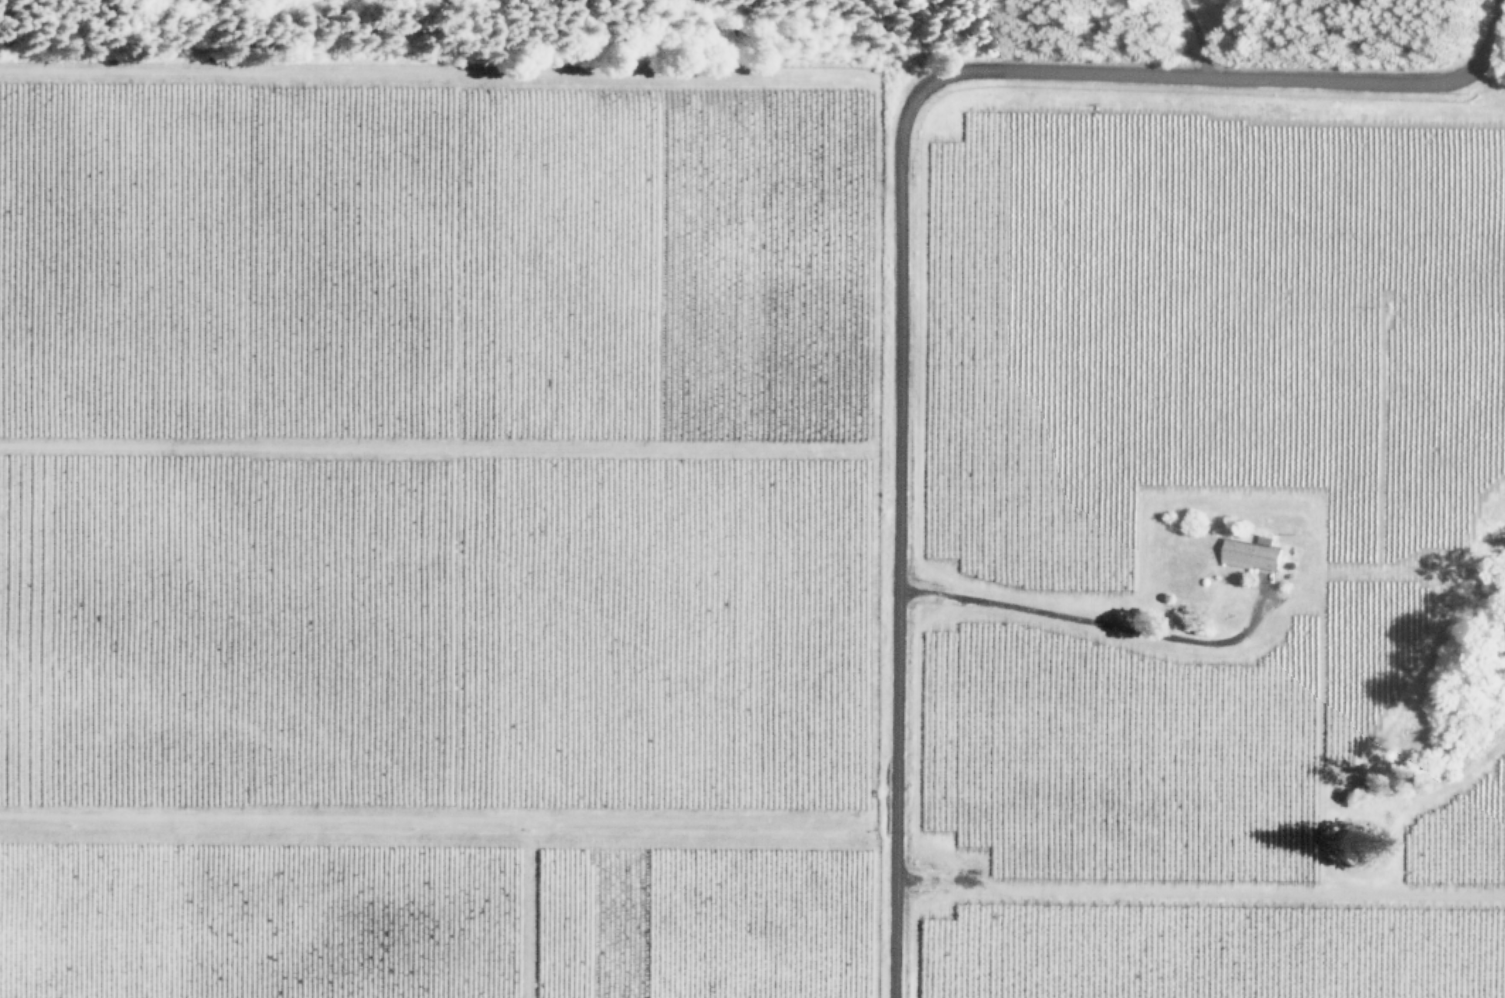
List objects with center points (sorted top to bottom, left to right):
road: (1196, 35)
road: (897, 224)
road: (1088, 620)

